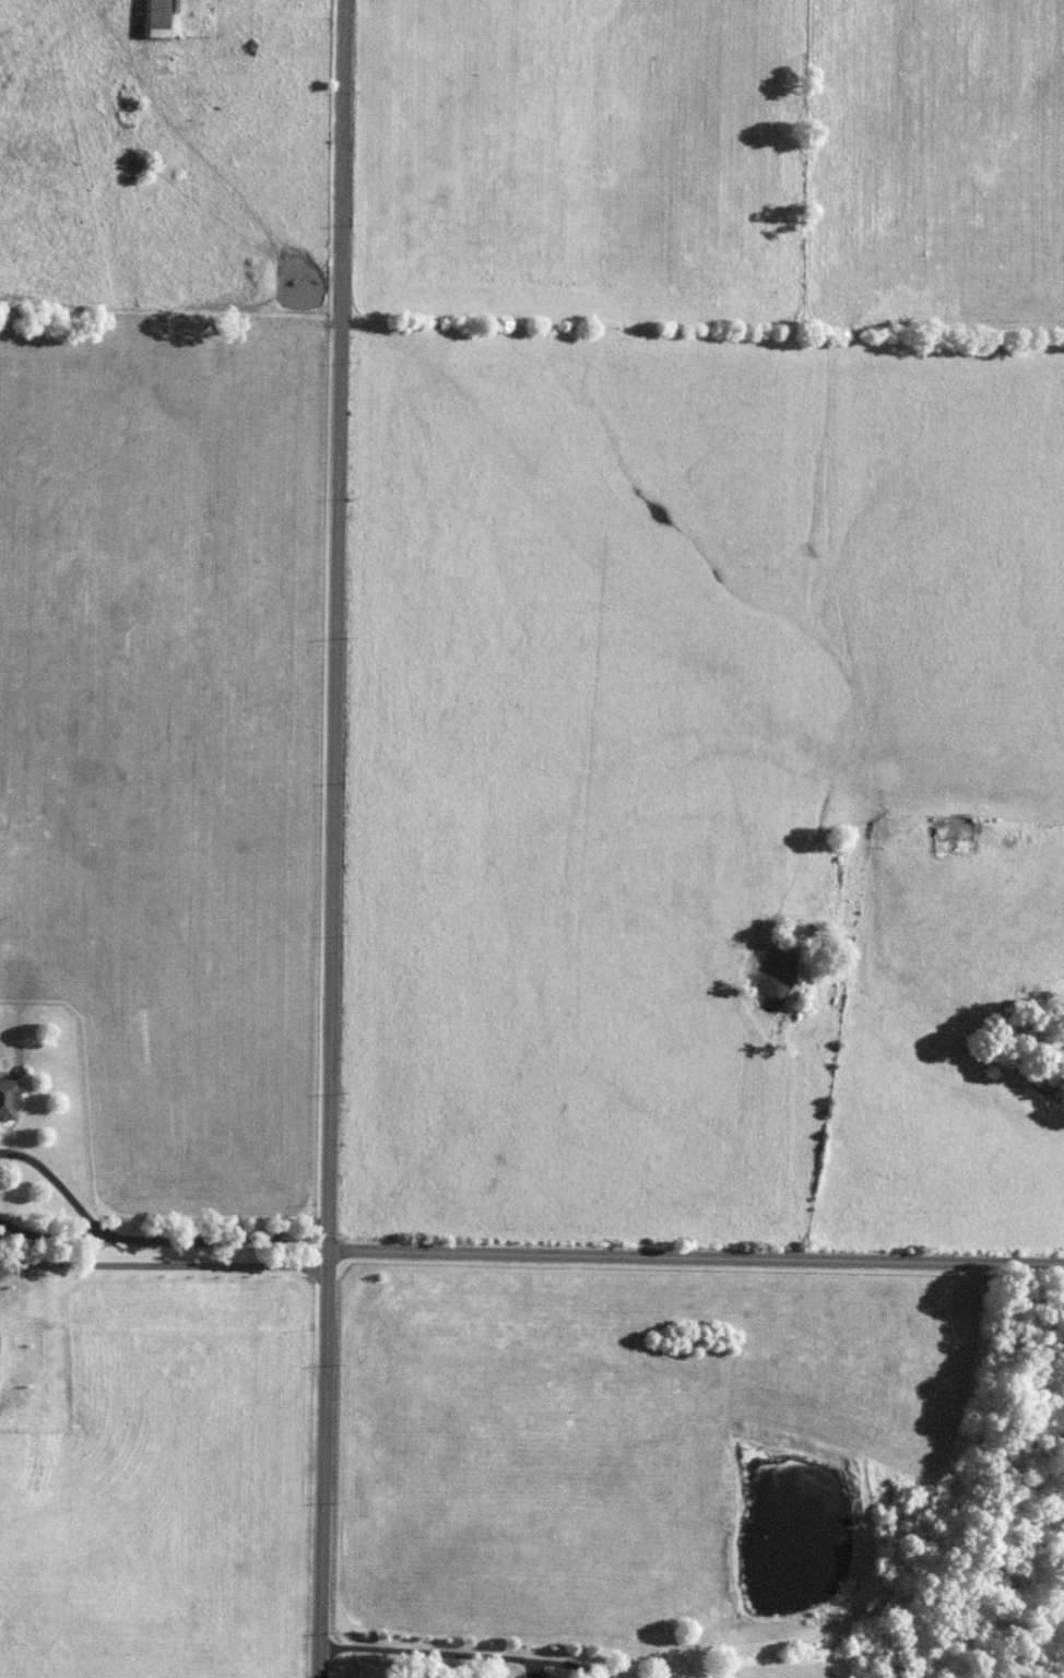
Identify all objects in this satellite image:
building: (156, 19)
road: (336, 839)
building: (7, 1100)
road: (58, 1186)
road: (51, 1238)
road: (220, 1238)
road: (698, 1250)
road: (166, 1263)
road: (423, 1652)
road: (563, 1664)
road: (533, 1668)

